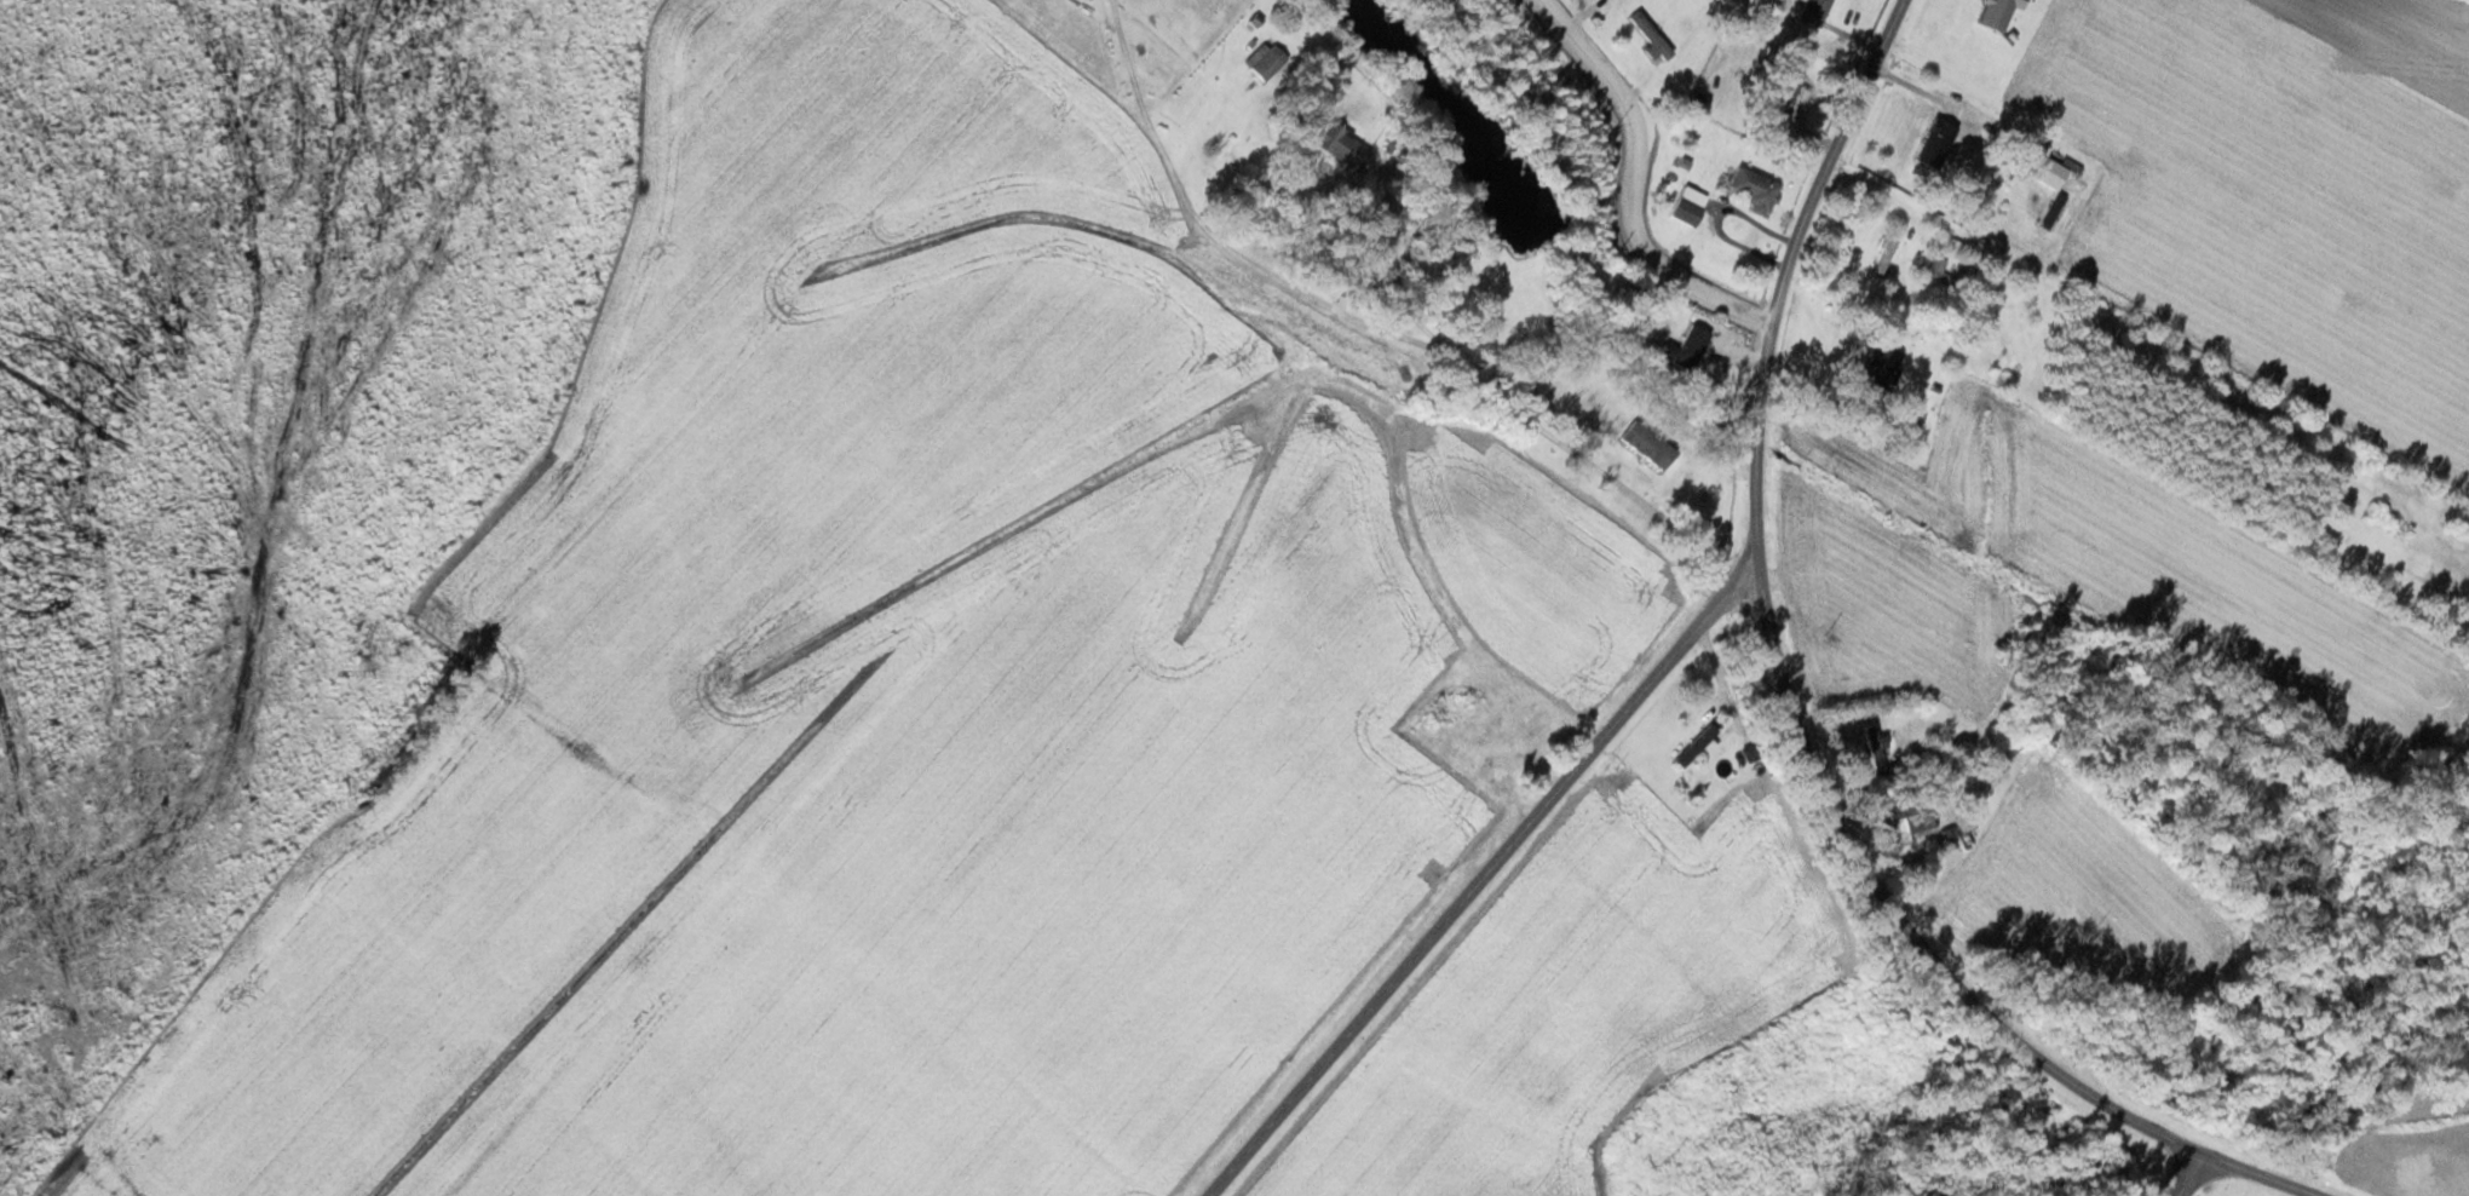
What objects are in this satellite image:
building: (1212, 6)
building: (1812, 12)
building: (1996, 15)
building: (1648, 39)
building: (1267, 64)
building: (1780, 99)
building: (1697, 104)
building: (1336, 144)
building: (1935, 144)
building: (2061, 177)
road: (1636, 189)
building: (1754, 191)
building: (1685, 211)
building: (1883, 258)
road: (1362, 316)
building: (1682, 350)
building: (1880, 368)
building: (1646, 445)
road: (1792, 708)
building: (1434, 720)
building: (1694, 748)
building: (1874, 752)
building: (1907, 827)
building: (1955, 840)
road: (1485, 878)
road: (2187, 1173)

